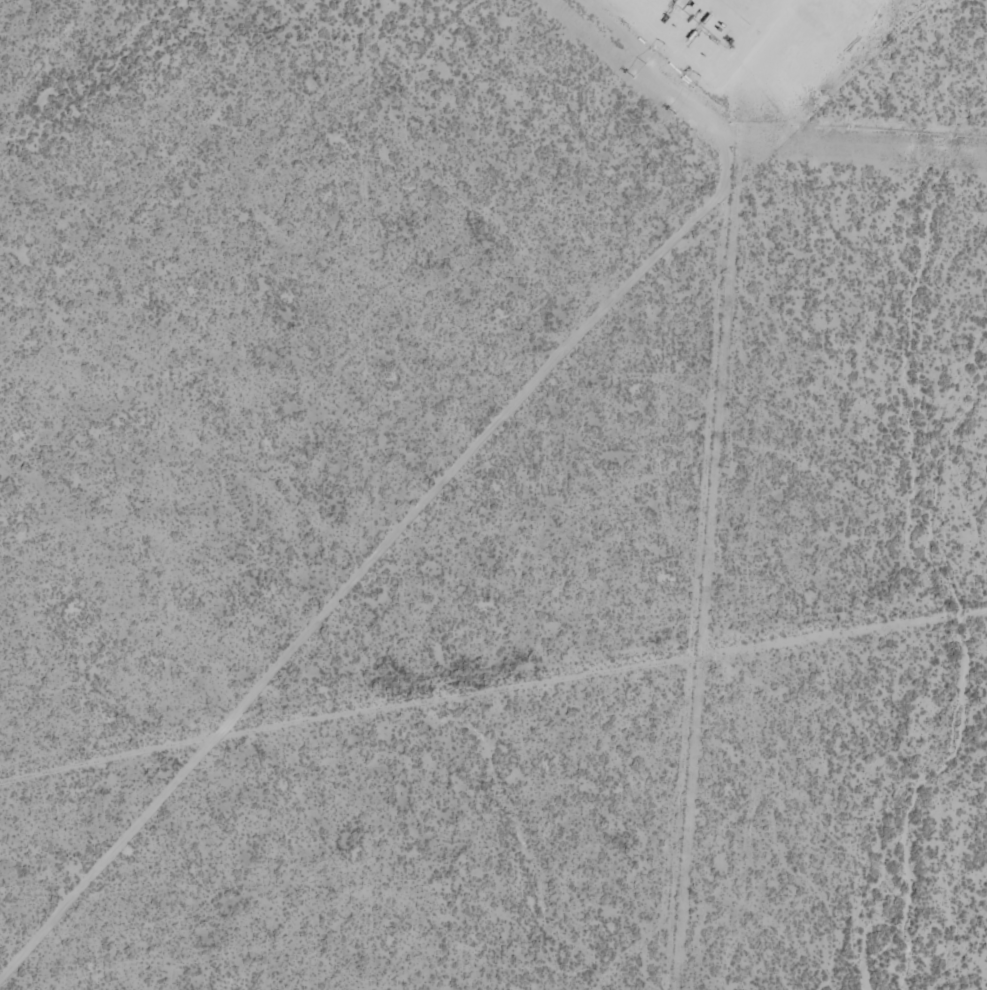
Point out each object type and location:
road: (138, 154)

